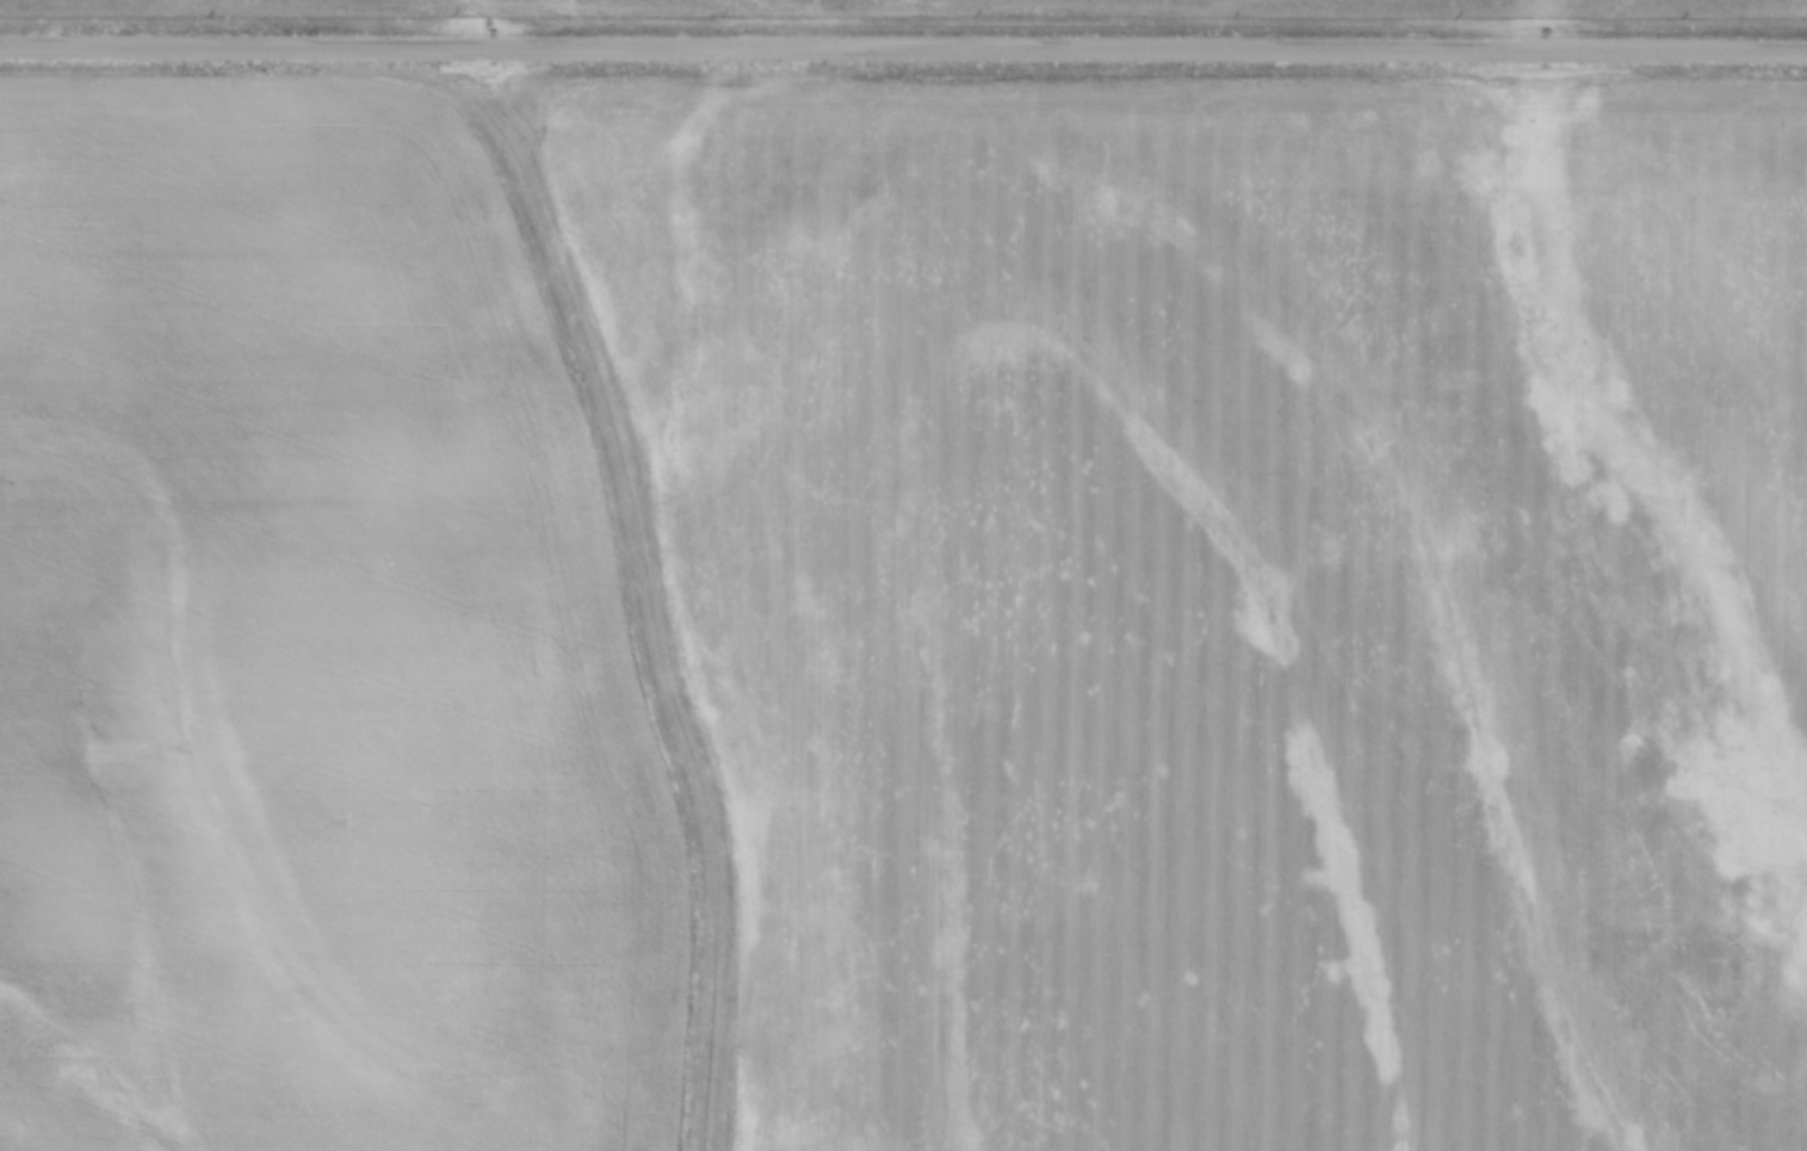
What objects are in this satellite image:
road: (903, 55)

